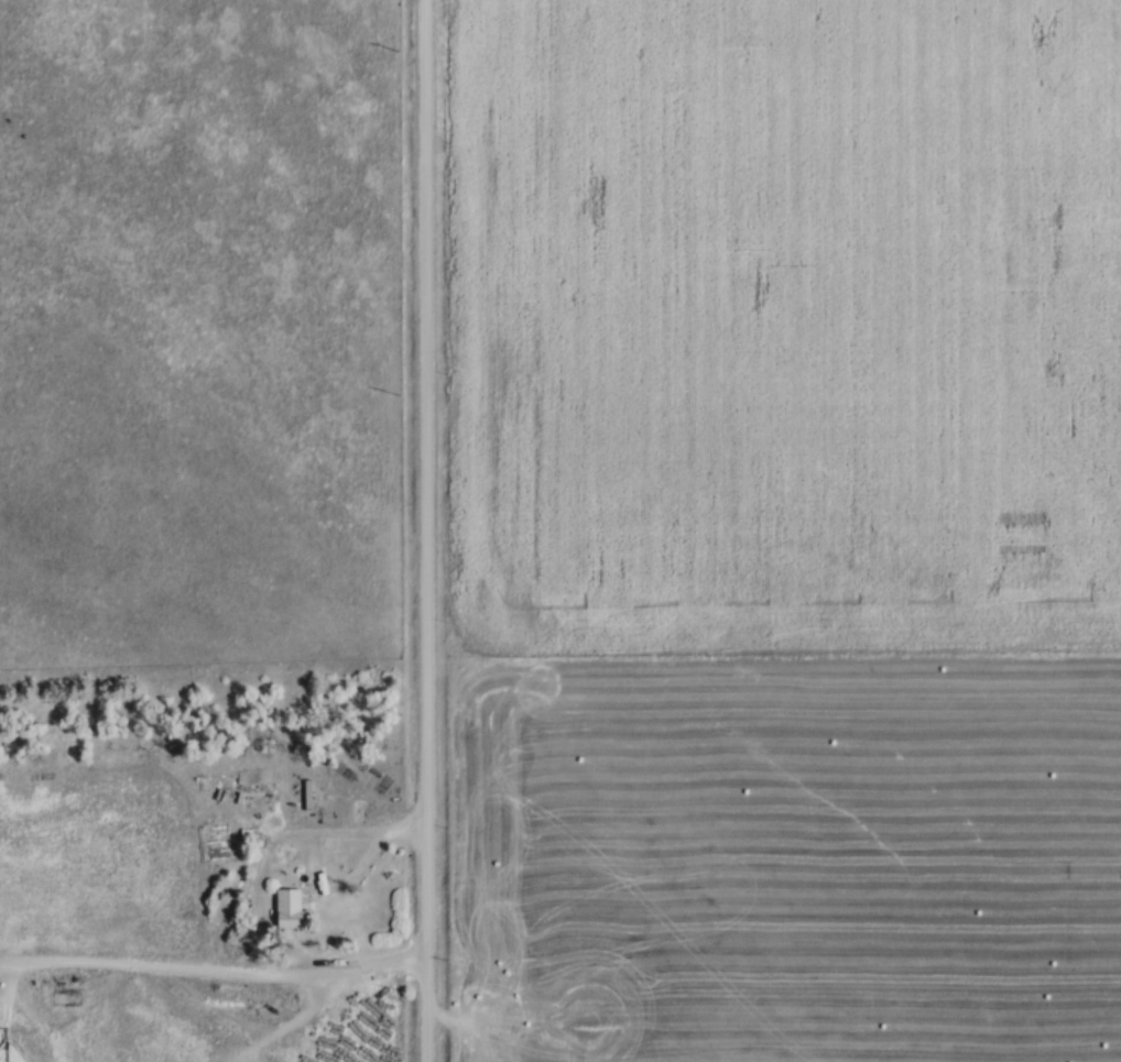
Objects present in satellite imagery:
road: (427, 530)
building: (233, 784)
road: (277, 834)
building: (285, 909)
road: (215, 968)

